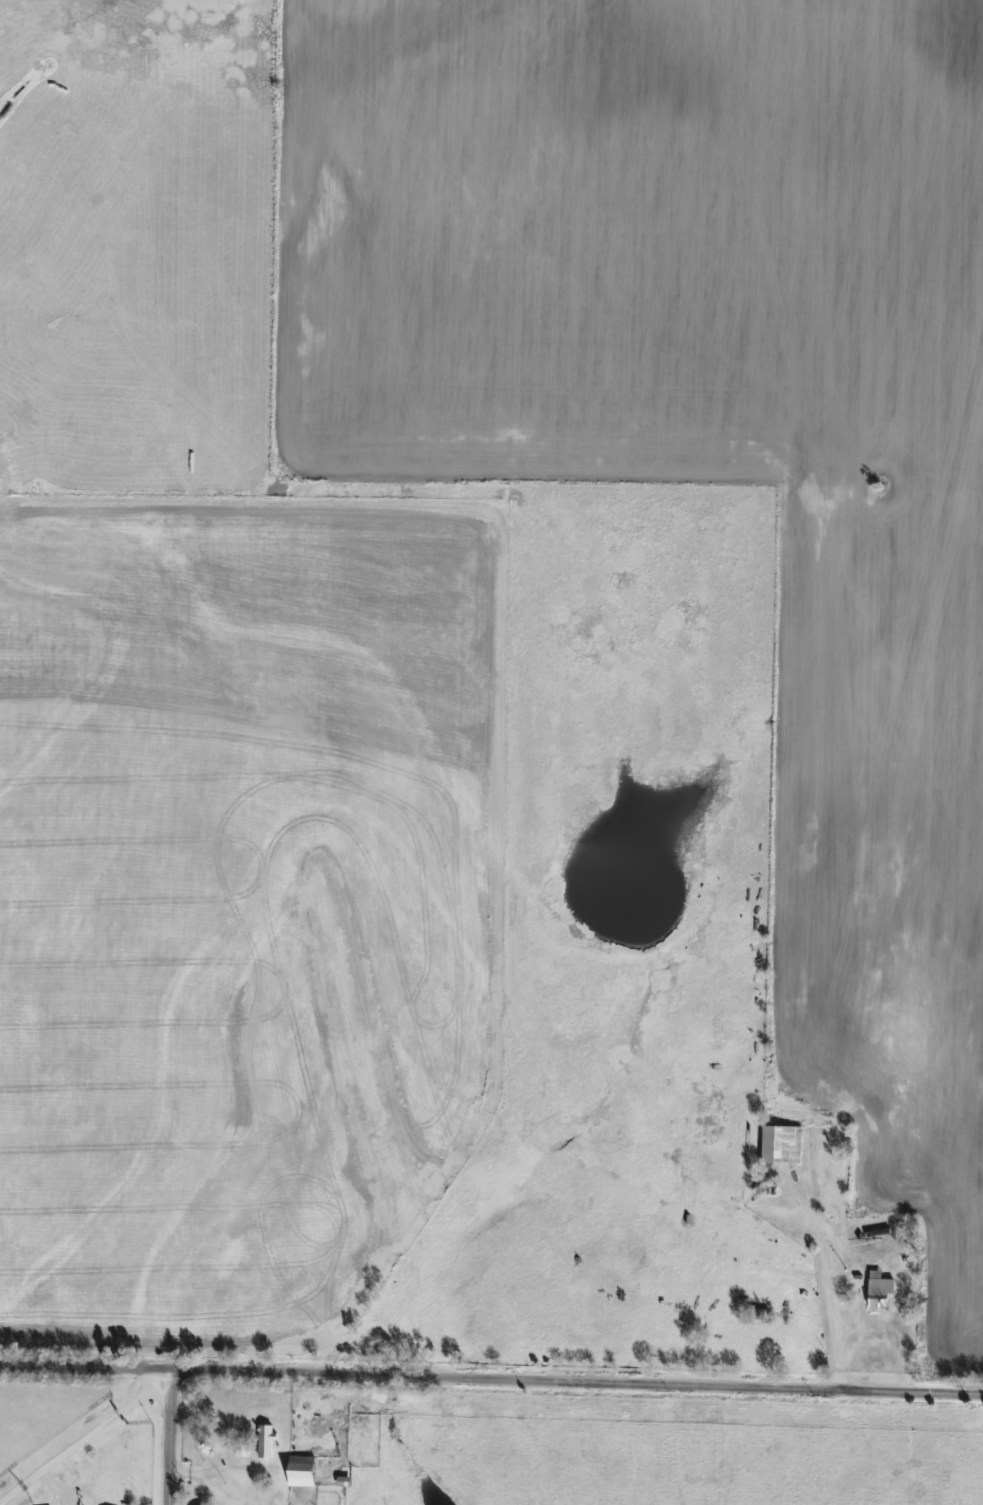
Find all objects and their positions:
building: (772, 1144)
road: (823, 1282)
building: (877, 1289)
building: (758, 1316)
road: (491, 1380)
road: (85, 1436)
road: (173, 1437)
building: (263, 1440)
building: (298, 1470)

